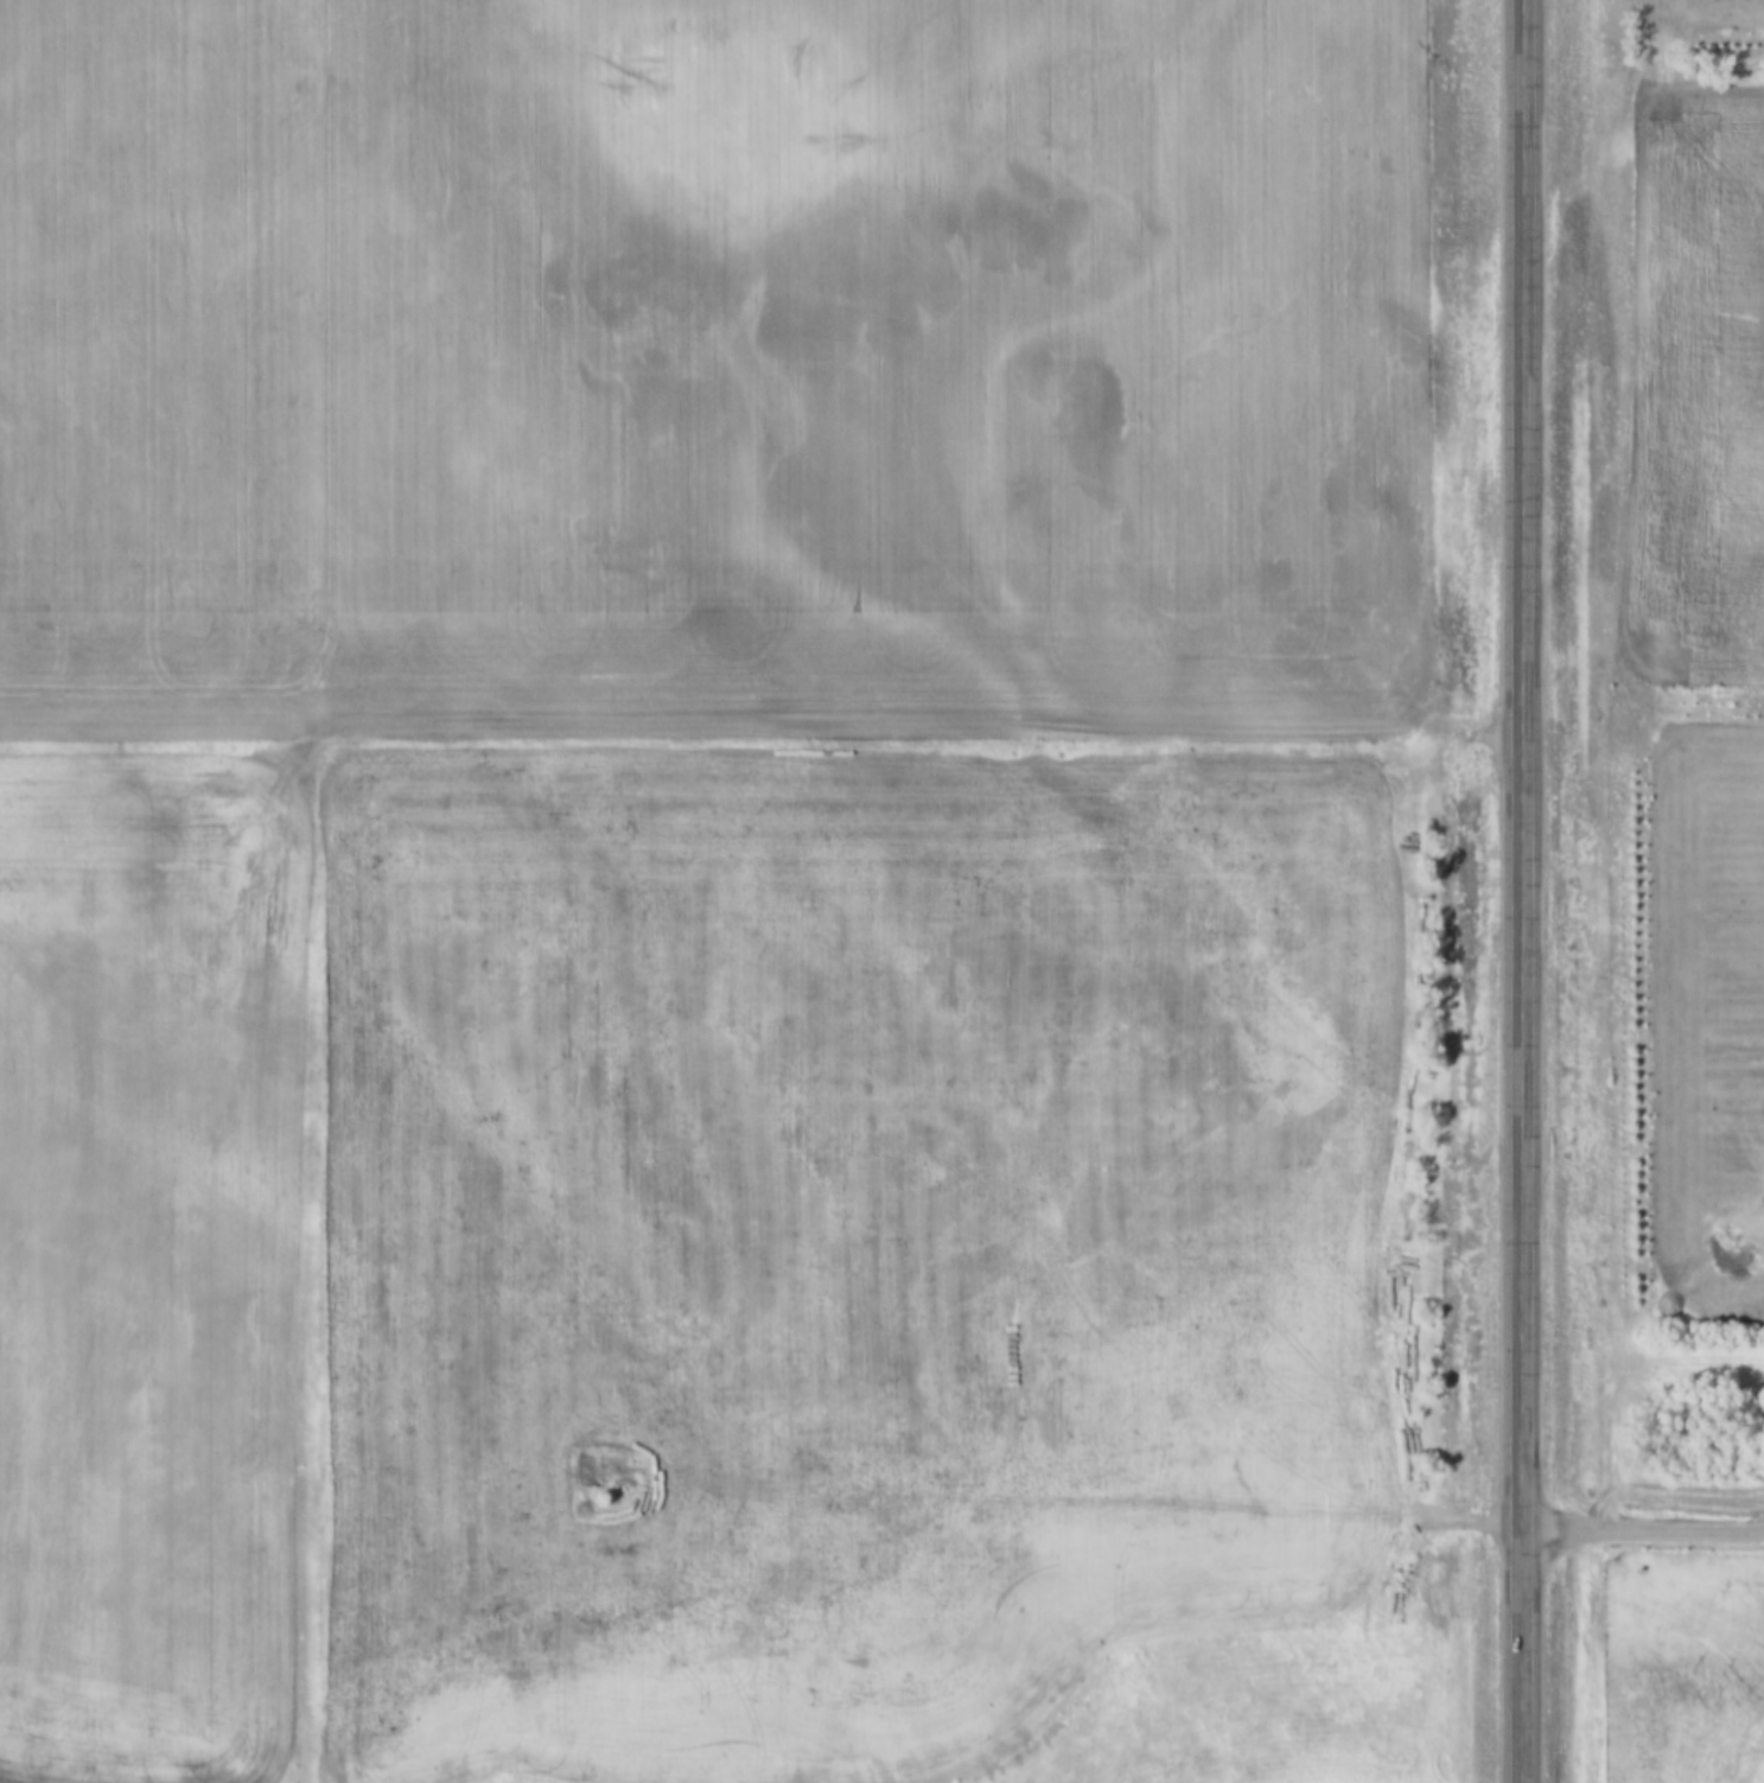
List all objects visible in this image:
road: (1522, 891)
road: (1642, 1524)

